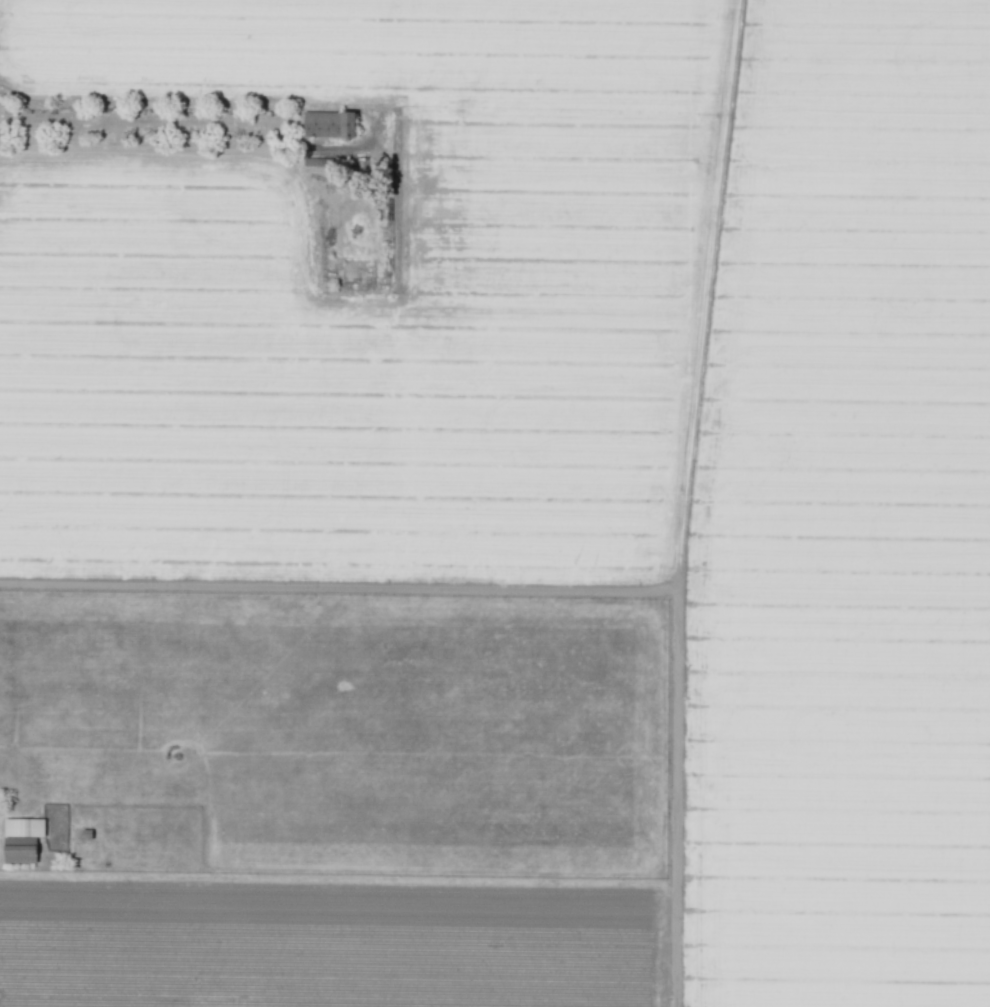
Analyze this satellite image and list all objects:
road: (145, 118)
building: (327, 124)
building: (20, 839)

